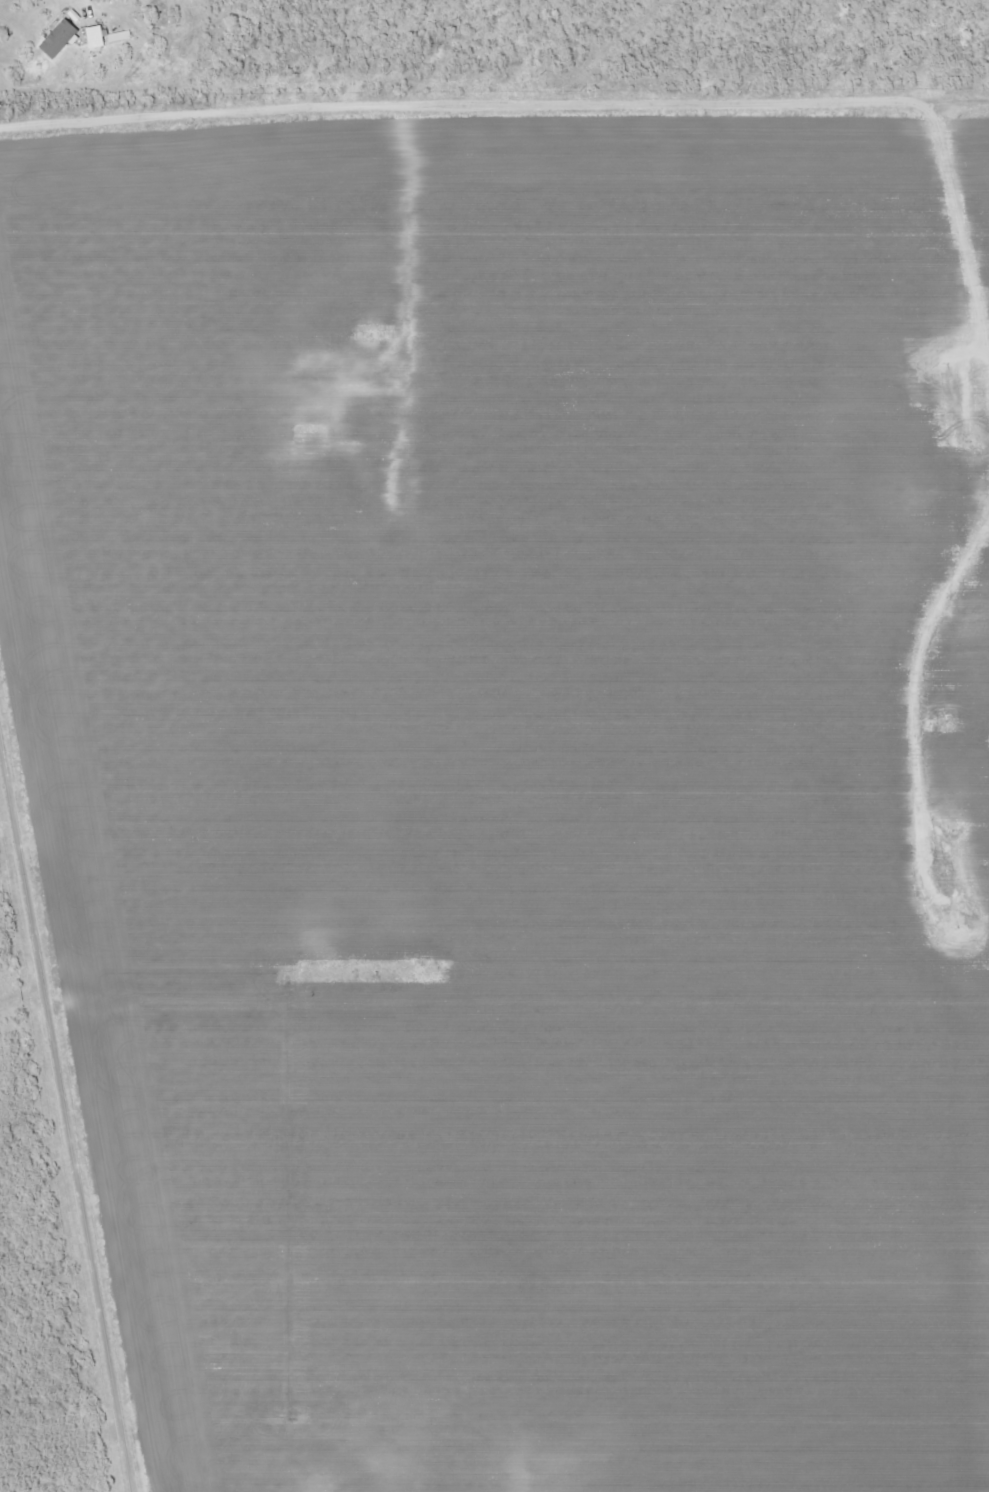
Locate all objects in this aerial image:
building: (98, 36)
building: (60, 38)
road: (494, 116)
road: (66, 1099)

